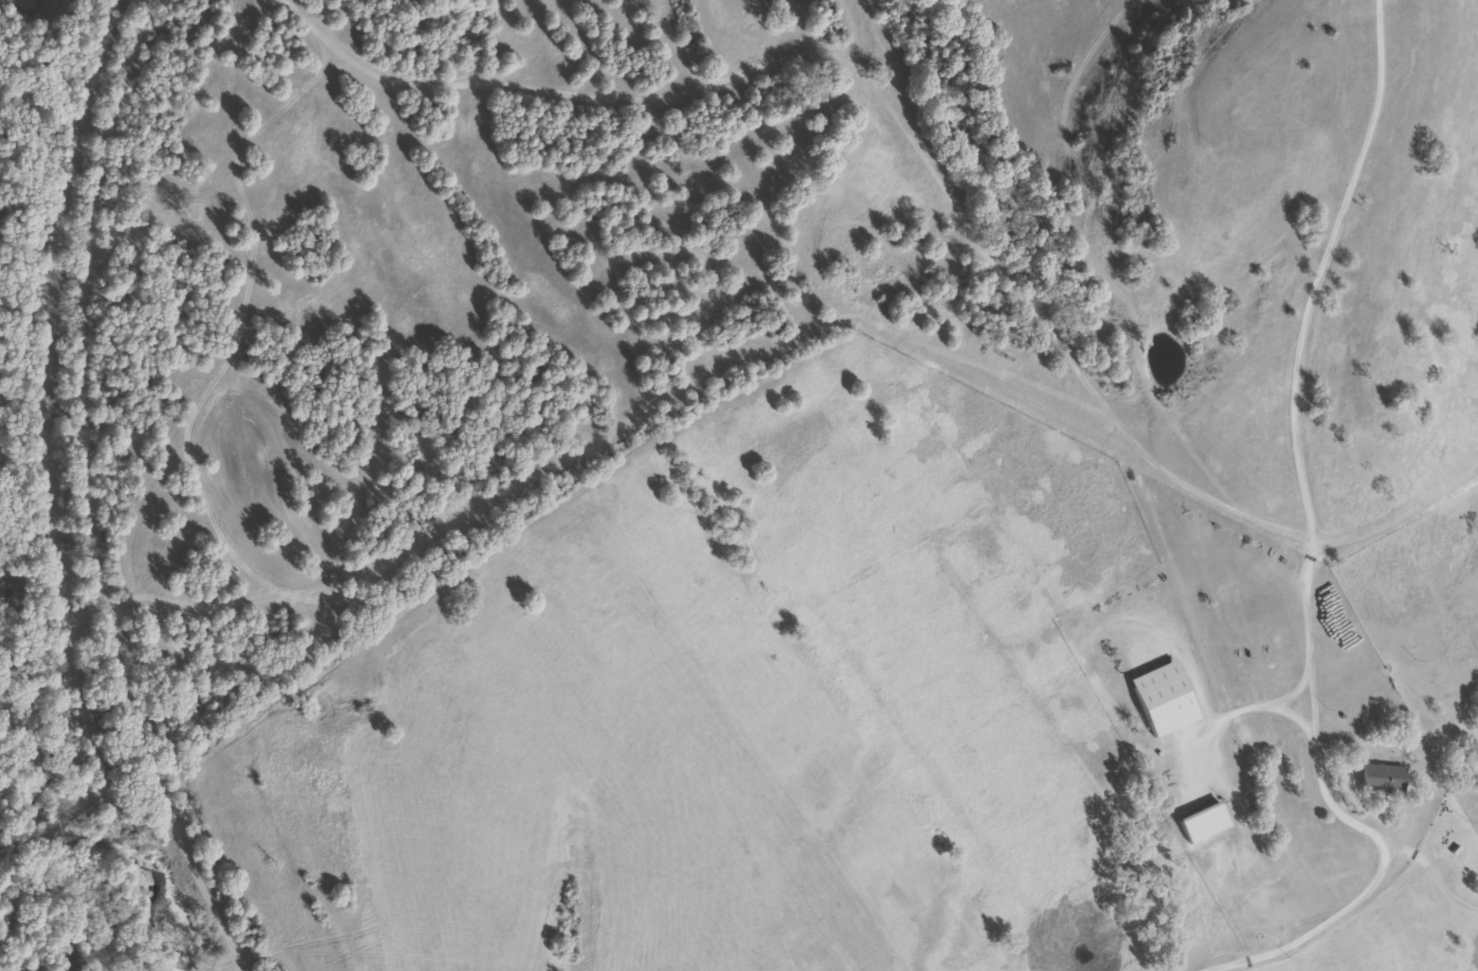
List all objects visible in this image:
railway: (67, 492)
building: (1163, 698)
building: (1383, 778)
building: (1210, 821)
road: (1266, 927)

